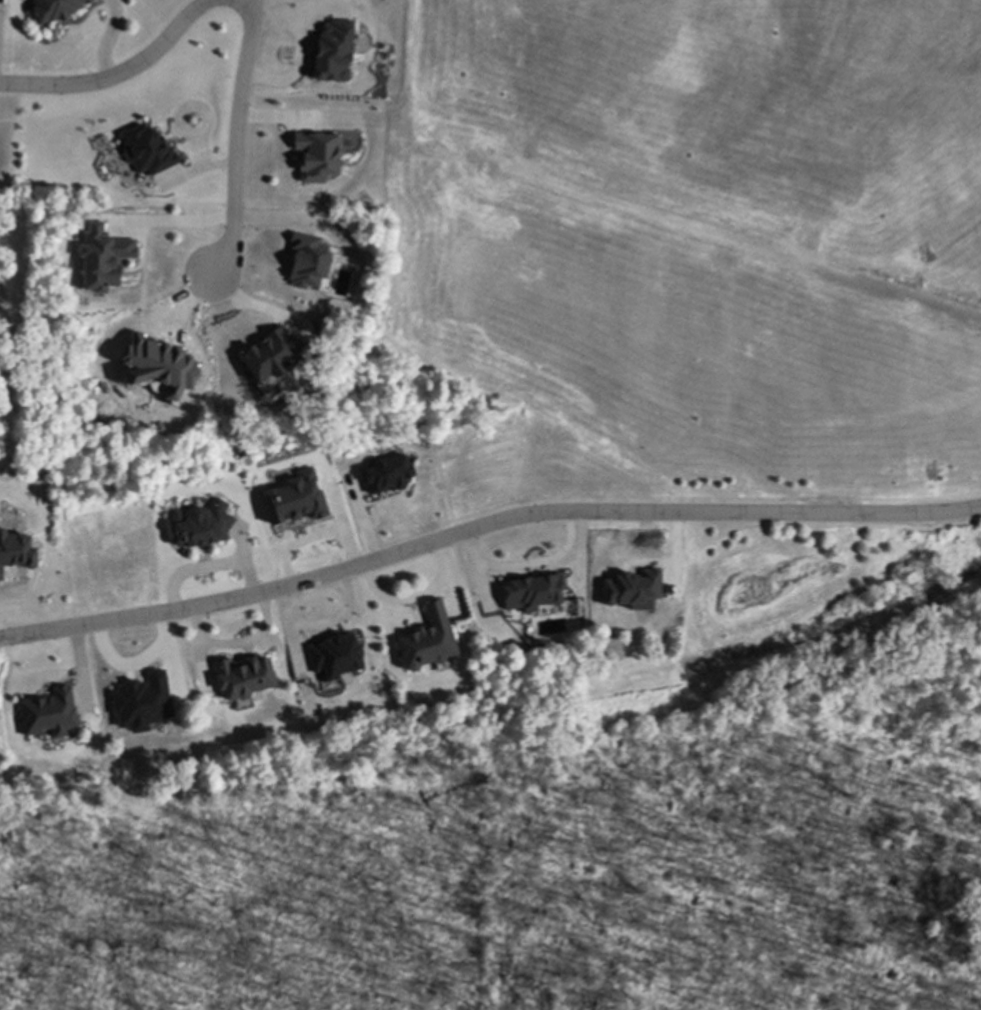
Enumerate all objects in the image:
building: (56, 7)
building: (332, 50)
road: (121, 75)
road: (236, 142)
building: (146, 149)
building: (317, 154)
road: (177, 220)
road: (682, 223)
building: (101, 257)
building: (306, 260)
building: (268, 353)
building: (385, 473)
building: (295, 498)
road: (484, 523)
building: (200, 524)
building: (15, 550)
building: (631, 588)
building: (530, 592)
road: (415, 595)
building: (427, 639)
building: (332, 655)
building: (242, 676)
building: (141, 701)
building: (47, 712)

